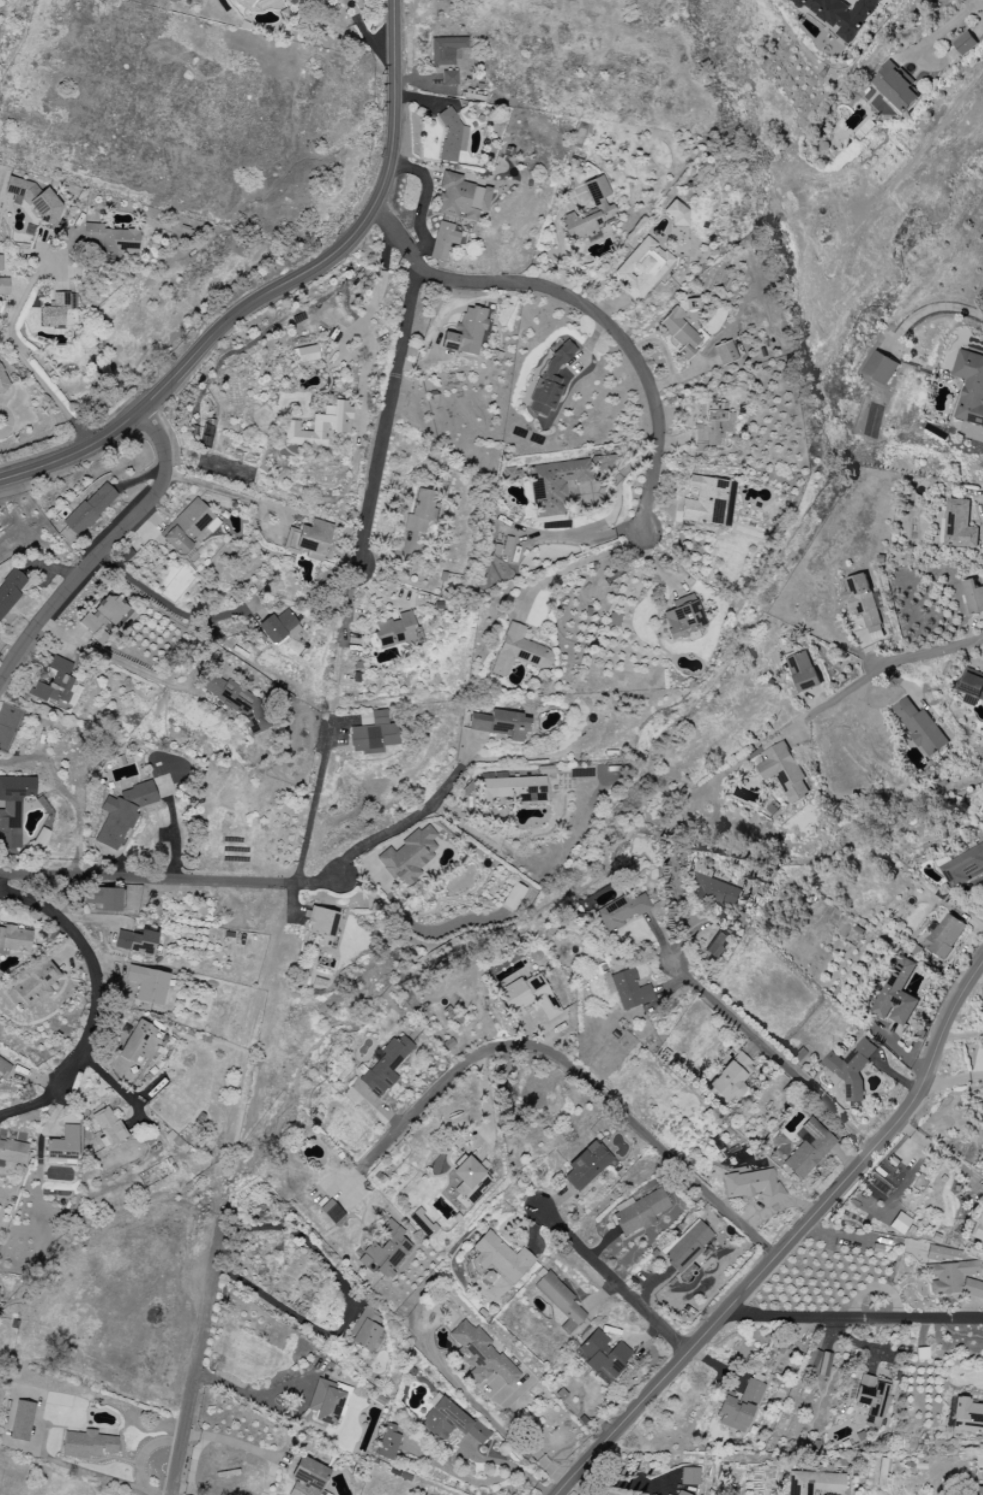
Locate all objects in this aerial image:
building: (255, 4)
building: (841, 14)
road: (943, 30)
road: (364, 35)
building: (965, 43)
building: (445, 50)
building: (448, 78)
building: (895, 86)
building: (452, 138)
building: (461, 198)
building: (36, 199)
building: (588, 212)
building: (677, 215)
building: (109, 240)
building: (442, 241)
building: (0, 263)
building: (644, 269)
building: (4, 286)
road: (277, 289)
road: (585, 305)
road: (937, 306)
building: (56, 310)
building: (466, 332)
building: (679, 332)
building: (724, 353)
building: (305, 354)
road: (28, 363)
building: (880, 367)
building: (3, 381)
building: (549, 381)
building: (970, 387)
road: (384, 413)
building: (712, 424)
building: (320, 427)
building: (556, 485)
building: (708, 501)
building: (90, 509)
building: (420, 511)
building: (959, 525)
building: (189, 528)
building: (308, 540)
road: (102, 547)
road: (580, 563)
building: (974, 596)
road: (164, 600)
building: (863, 603)
building: (104, 613)
building: (682, 617)
building: (278, 627)
building: (395, 631)
road: (341, 640)
building: (519, 652)
road: (930, 653)
road: (108, 656)
road: (971, 659)
building: (803, 671)
building: (57, 686)
building: (972, 686)
road: (843, 694)
building: (237, 702)
building: (502, 725)
building: (920, 727)
building: (372, 733)
building: (784, 771)
building: (514, 789)
road: (312, 798)
building: (13, 808)
building: (121, 816)
road: (404, 821)
building: (409, 856)
building: (963, 866)
road: (169, 874)
building: (712, 888)
building: (512, 896)
building: (103, 898)
building: (620, 912)
building: (321, 925)
building: (945, 936)
building: (14, 940)
building: (136, 943)
building: (716, 944)
road: (93, 969)
building: (147, 984)
building: (35, 985)
building: (629, 990)
building: (897, 994)
building: (529, 996)
road: (962, 1034)
building: (141, 1042)
road: (772, 1055)
road: (566, 1064)
building: (384, 1066)
building: (4, 1068)
building: (851, 1068)
road: (952, 1079)
building: (728, 1081)
road: (31, 1105)
building: (108, 1126)
building: (63, 1147)
building: (808, 1148)
building: (12, 1151)
building: (587, 1166)
building: (470, 1180)
building: (753, 1186)
building: (639, 1211)
building: (899, 1223)
building: (978, 1228)
road: (790, 1242)
building: (687, 1246)
building: (386, 1251)
building: (501, 1258)
building: (951, 1273)
road: (612, 1281)
building: (559, 1301)
road: (347, 1305)
road: (850, 1320)
building: (365, 1330)
road: (858, 1341)
road: (198, 1353)
building: (604, 1354)
building: (921, 1354)
building: (481, 1355)
building: (818, 1362)
building: (740, 1405)
road: (279, 1411)
building: (966, 1417)
building: (22, 1421)
building: (451, 1422)
road: (524, 1432)
building: (388, 1443)
building: (87, 1444)
road: (144, 1459)
road: (511, 1469)
building: (689, 1476)
building: (307, 1477)
building: (813, 1482)
building: (977, 1491)
building: (680, 1493)

